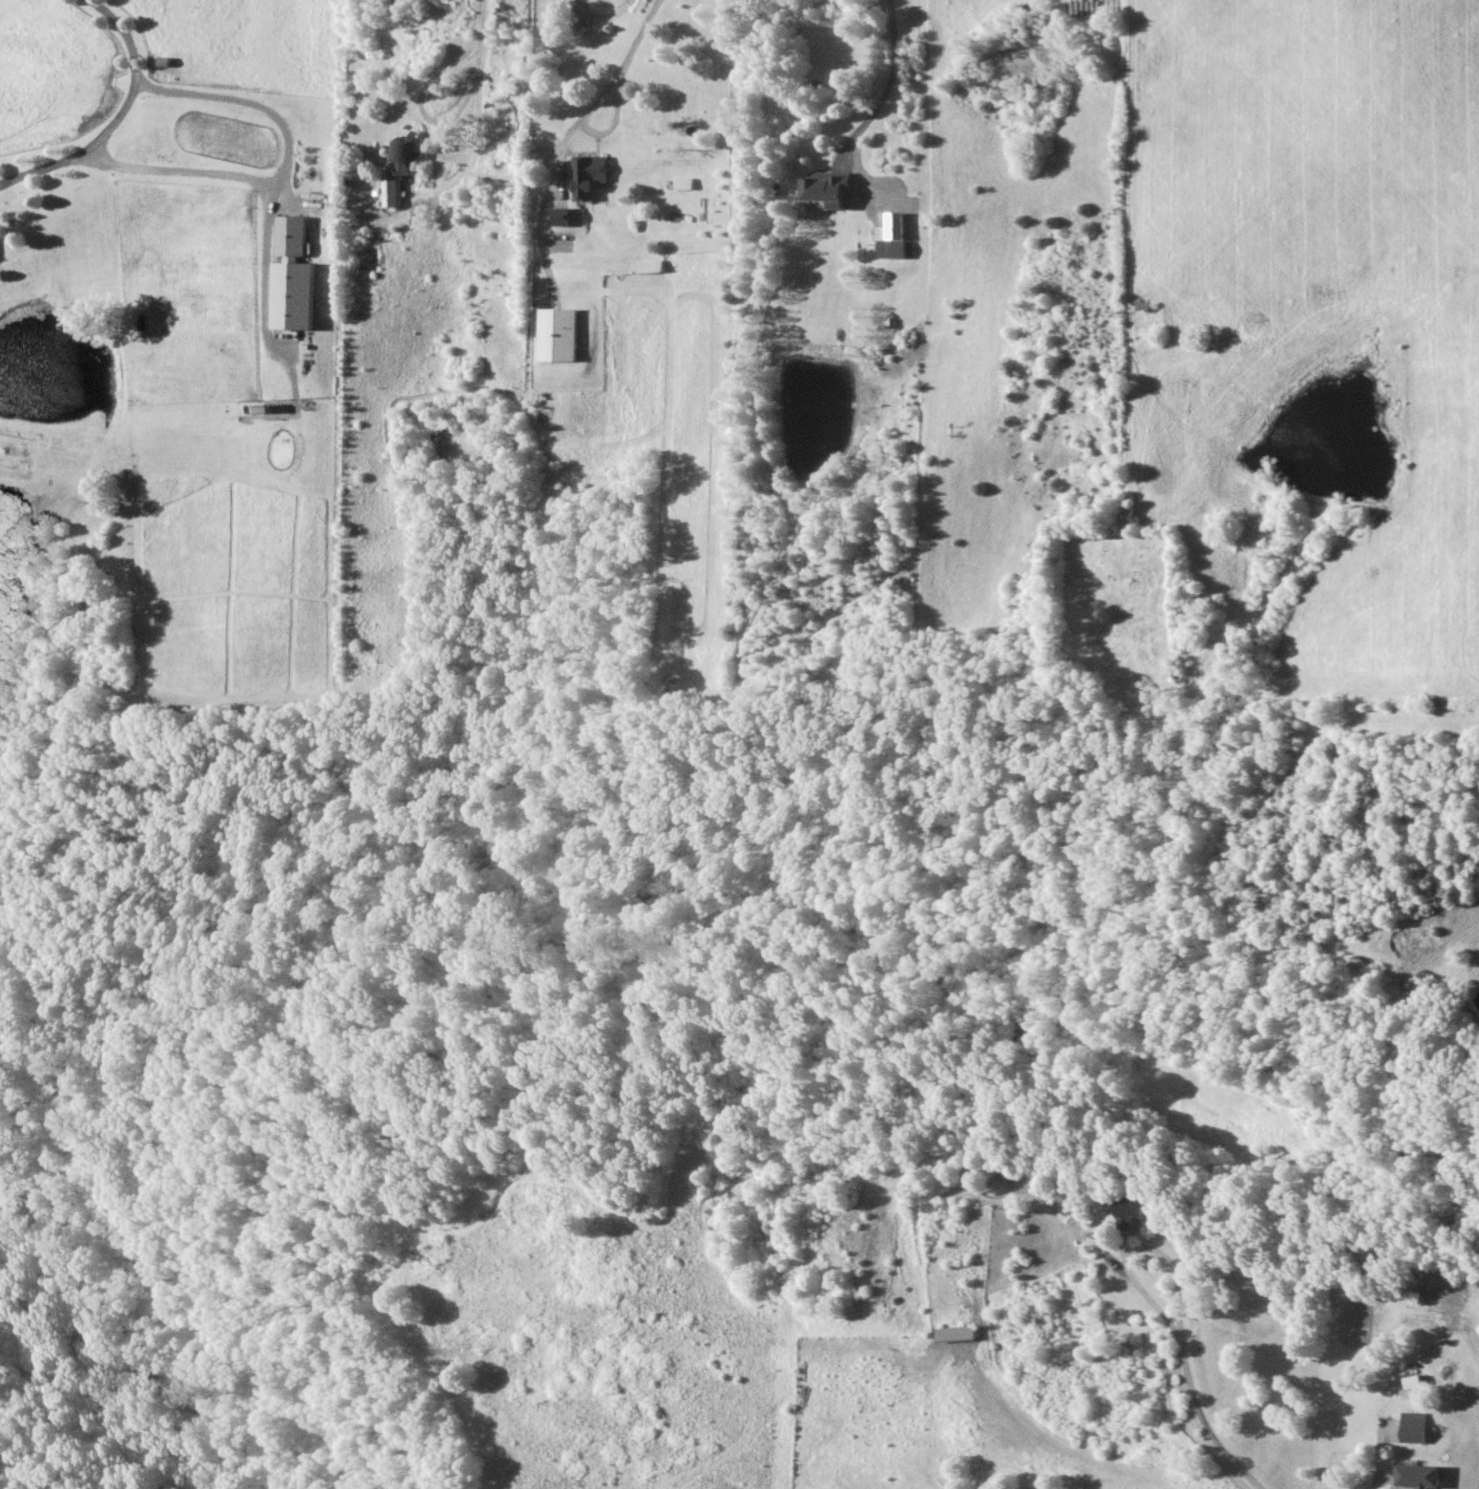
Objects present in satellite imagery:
road: (483, 26)
road: (890, 81)
road: (118, 117)
road: (431, 117)
road: (569, 137)
building: (406, 153)
road: (1129, 153)
road: (285, 167)
building: (589, 175)
building: (829, 187)
building: (390, 192)
building: (562, 216)
building: (892, 241)
road: (267, 257)
building: (293, 277)
building: (558, 334)
building: (1136, 1210)
road: (1133, 1241)
building: (1478, 1328)
road: (1202, 1416)
building: (1414, 1427)
building: (1419, 1475)
road: (1380, 1480)

